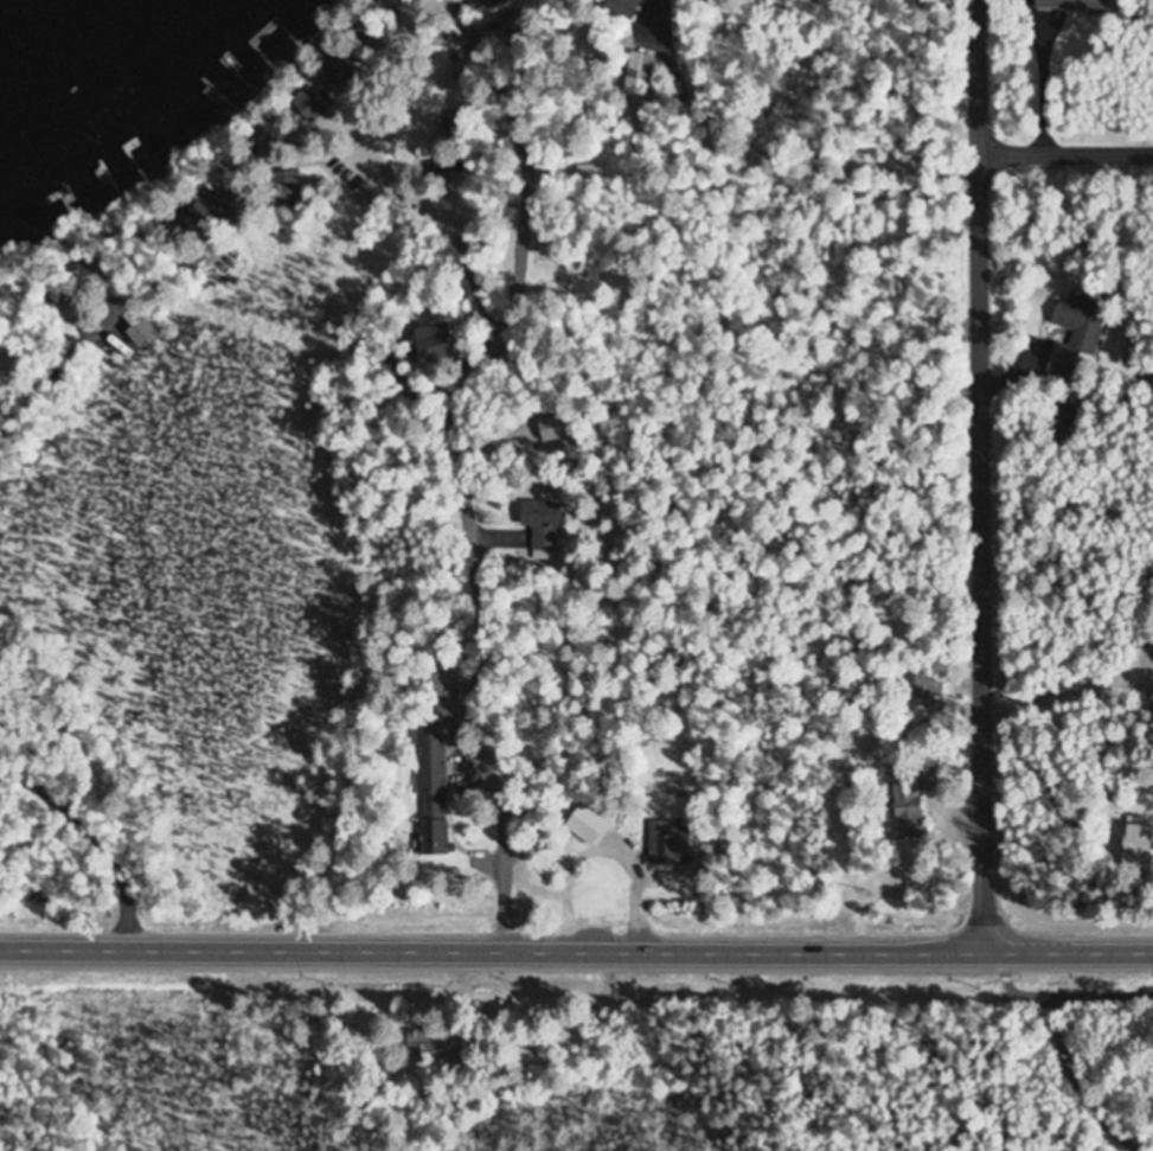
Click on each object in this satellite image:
building: (488, 4)
building: (1072, 5)
building: (640, 66)
building: (307, 105)
building: (260, 149)
road: (1066, 149)
building: (438, 168)
building: (284, 190)
road: (428, 210)
building: (201, 211)
building: (1075, 335)
road: (472, 421)
building: (1064, 424)
road: (982, 472)
building: (539, 526)
building: (443, 685)
building: (924, 689)
building: (430, 793)
building: (907, 806)
building: (583, 824)
road: (78, 839)
building: (1134, 840)
building: (667, 843)
road: (576, 944)
road: (1058, 991)
building: (429, 1046)
building: (467, 1061)

